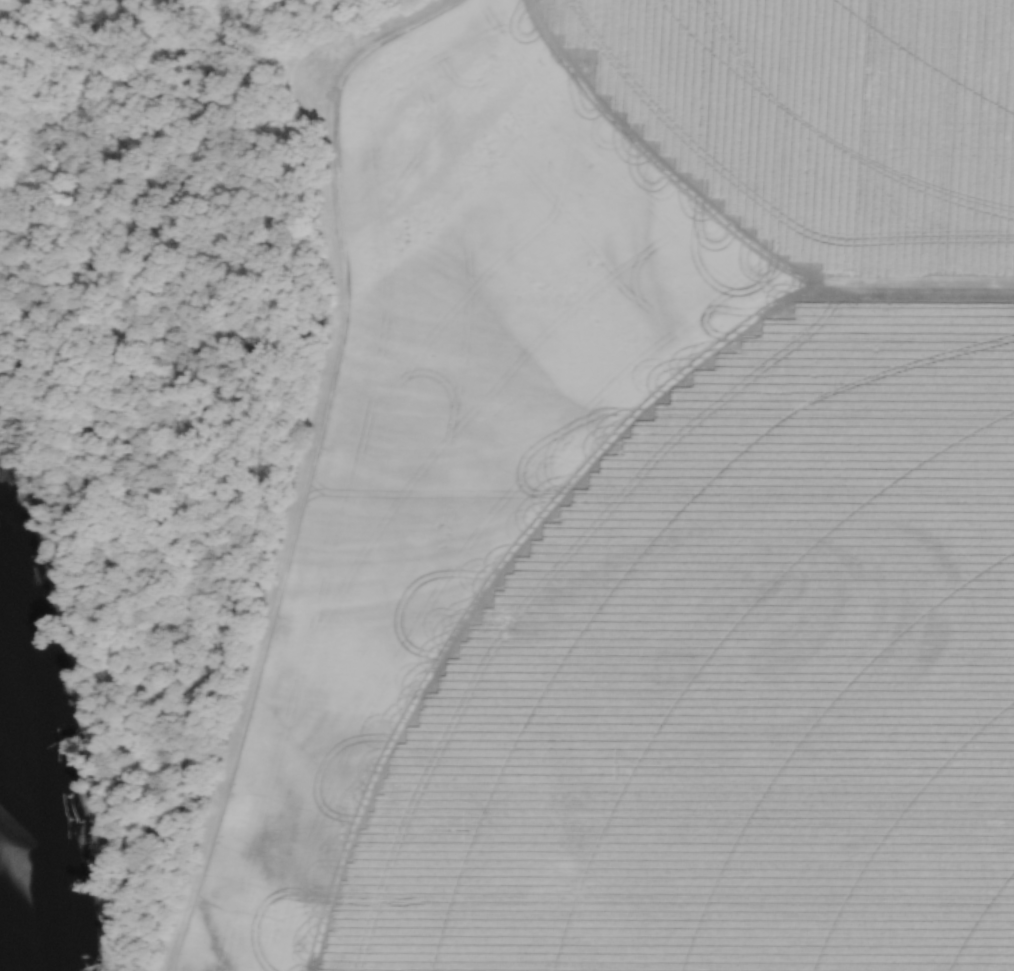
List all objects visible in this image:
river: (3, 955)

